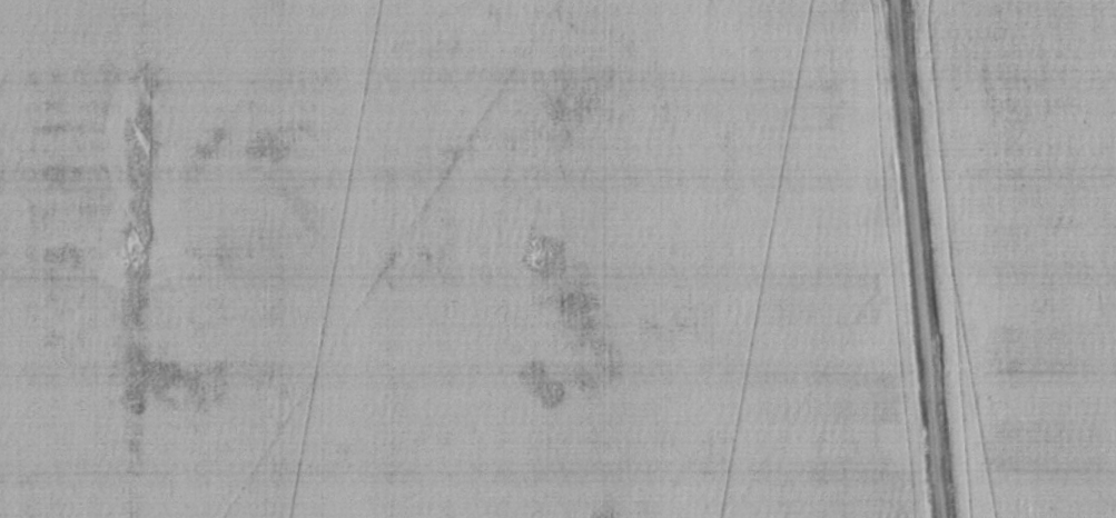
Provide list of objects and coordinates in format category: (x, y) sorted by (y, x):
road: (918, 259)

